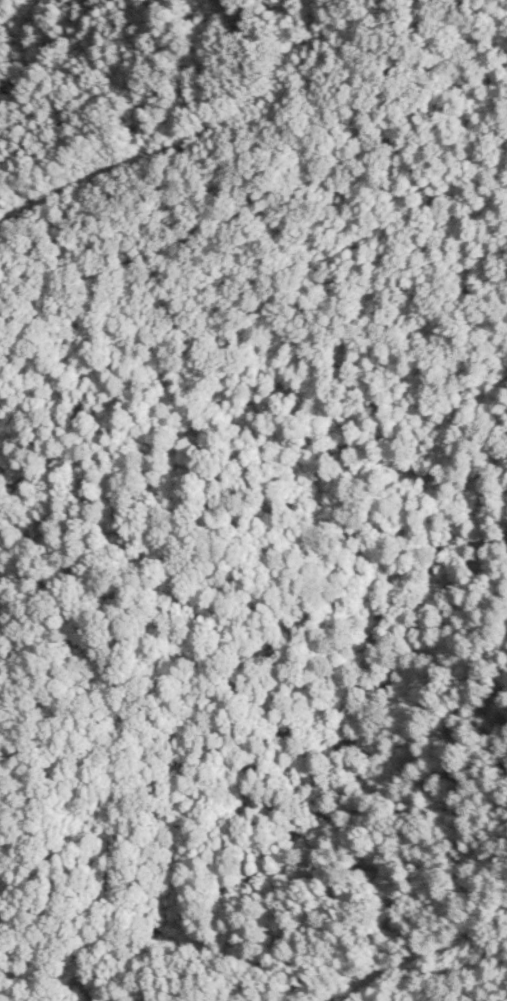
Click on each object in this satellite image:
road: (184, 124)
road: (97, 996)

